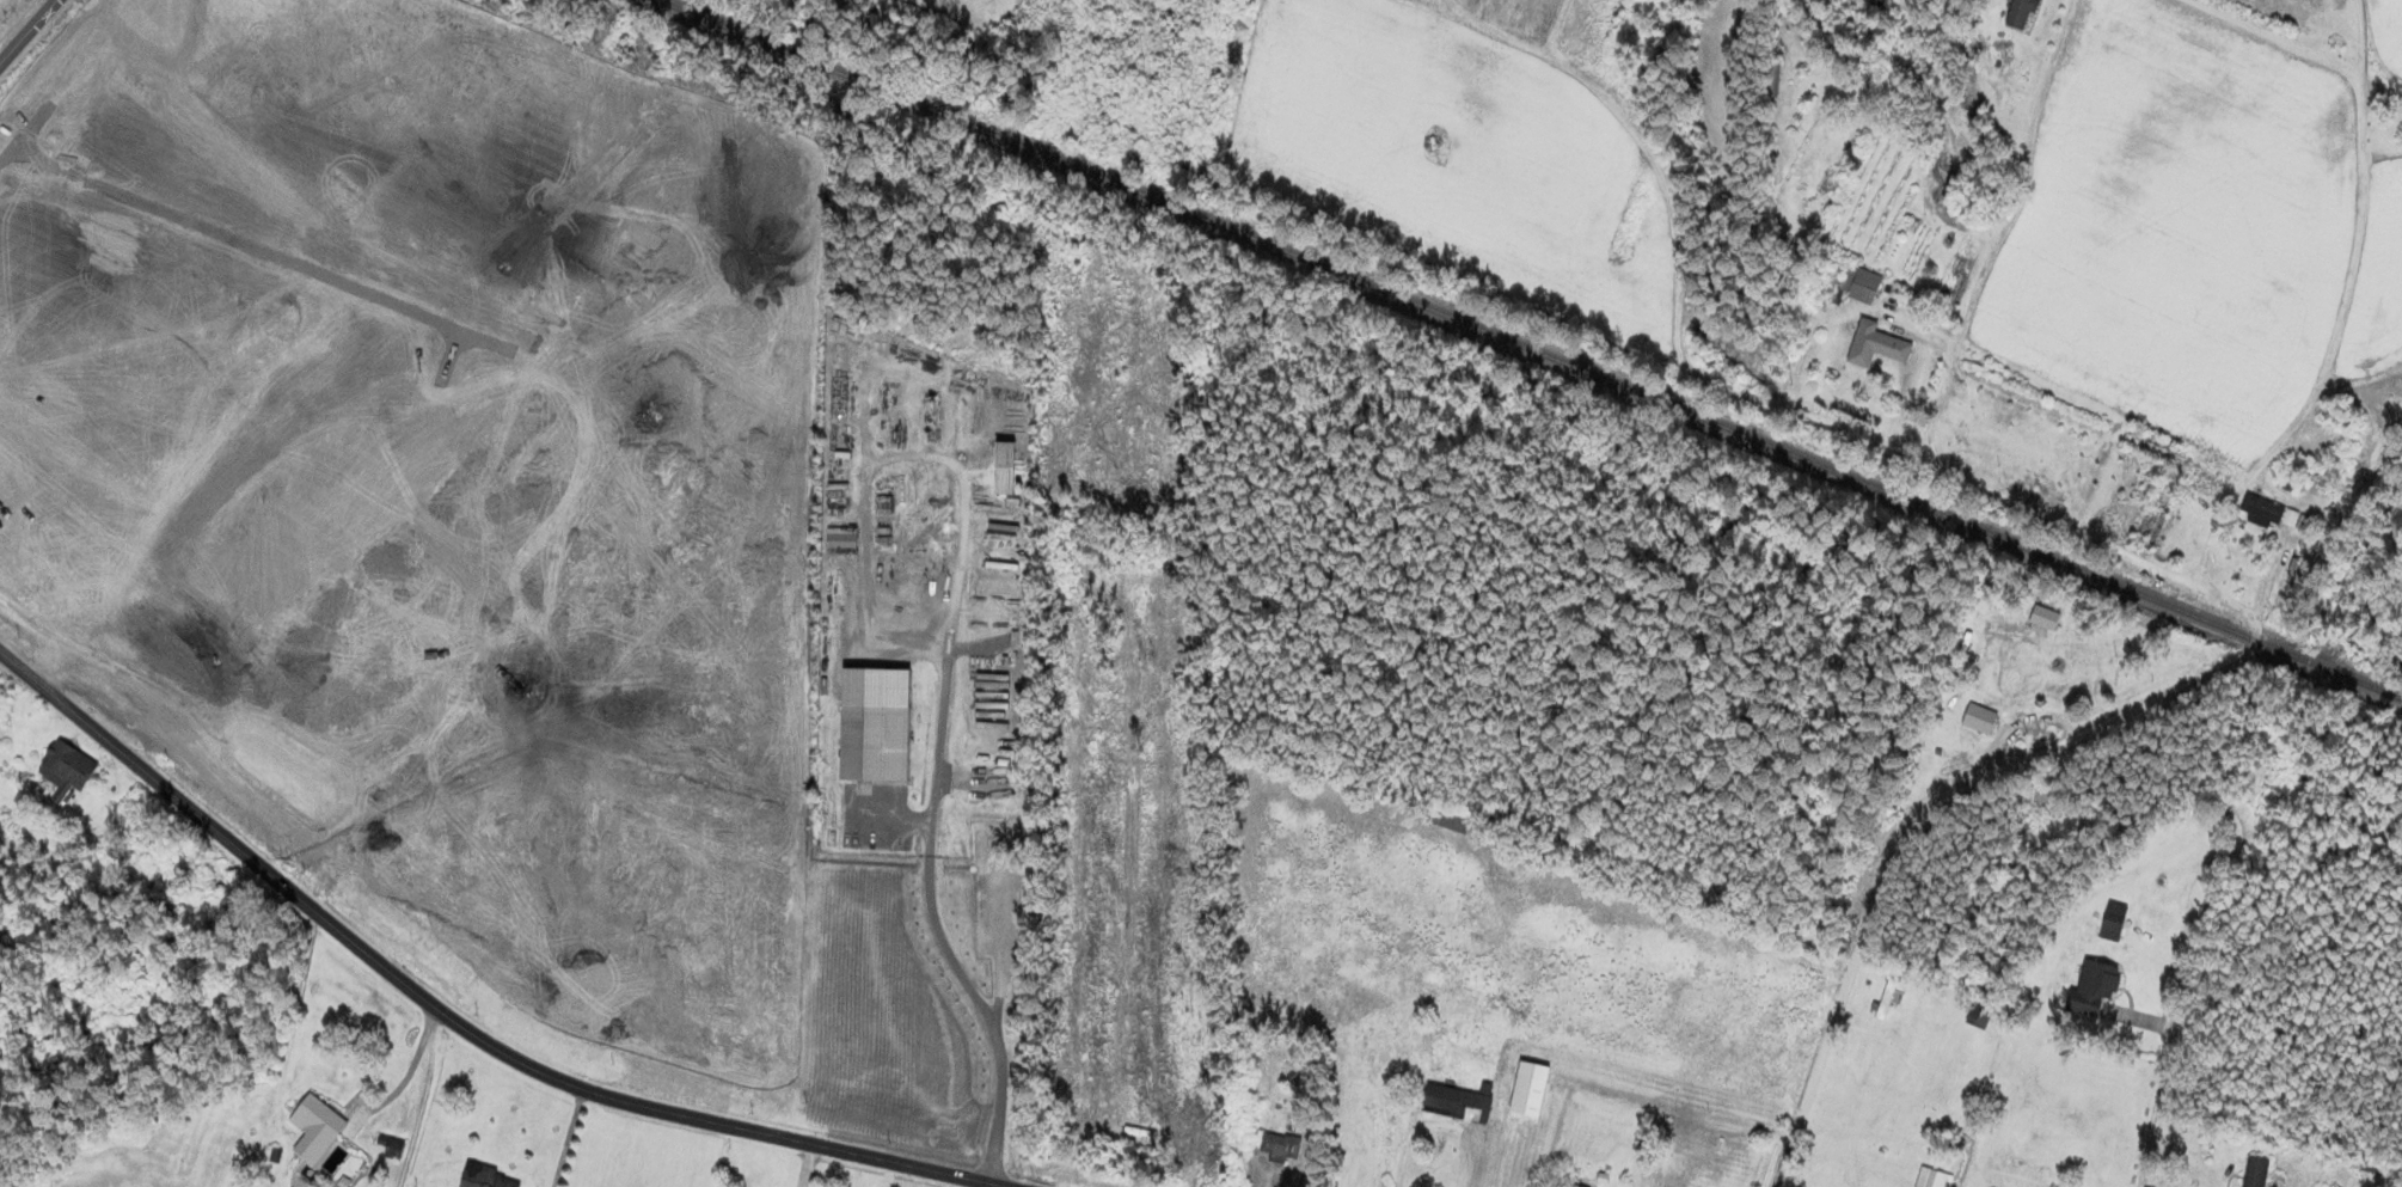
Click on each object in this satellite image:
building: (2021, 13)
road: (27, 31)
road: (2277, 44)
building: (1770, 78)
road: (2003, 231)
building: (1861, 284)
road: (1779, 310)
road: (2379, 344)
building: (1876, 345)
railway: (1530, 350)
building: (2337, 417)
building: (2159, 448)
building: (2315, 485)
building: (2277, 514)
building: (2156, 515)
building: (841, 539)
building: (1980, 720)
building: (875, 727)
road: (2084, 736)
building: (66, 772)
building: (2038, 794)
building: (1447, 821)
building: (2114, 922)
building: (2094, 986)
building: (1887, 997)
building: (1979, 1016)
road: (455, 1020)
building: (1459, 1102)
building: (315, 1128)
building: (2256, 1171)
building: (486, 1179)
building: (1934, 1179)
building: (1577, 1186)

